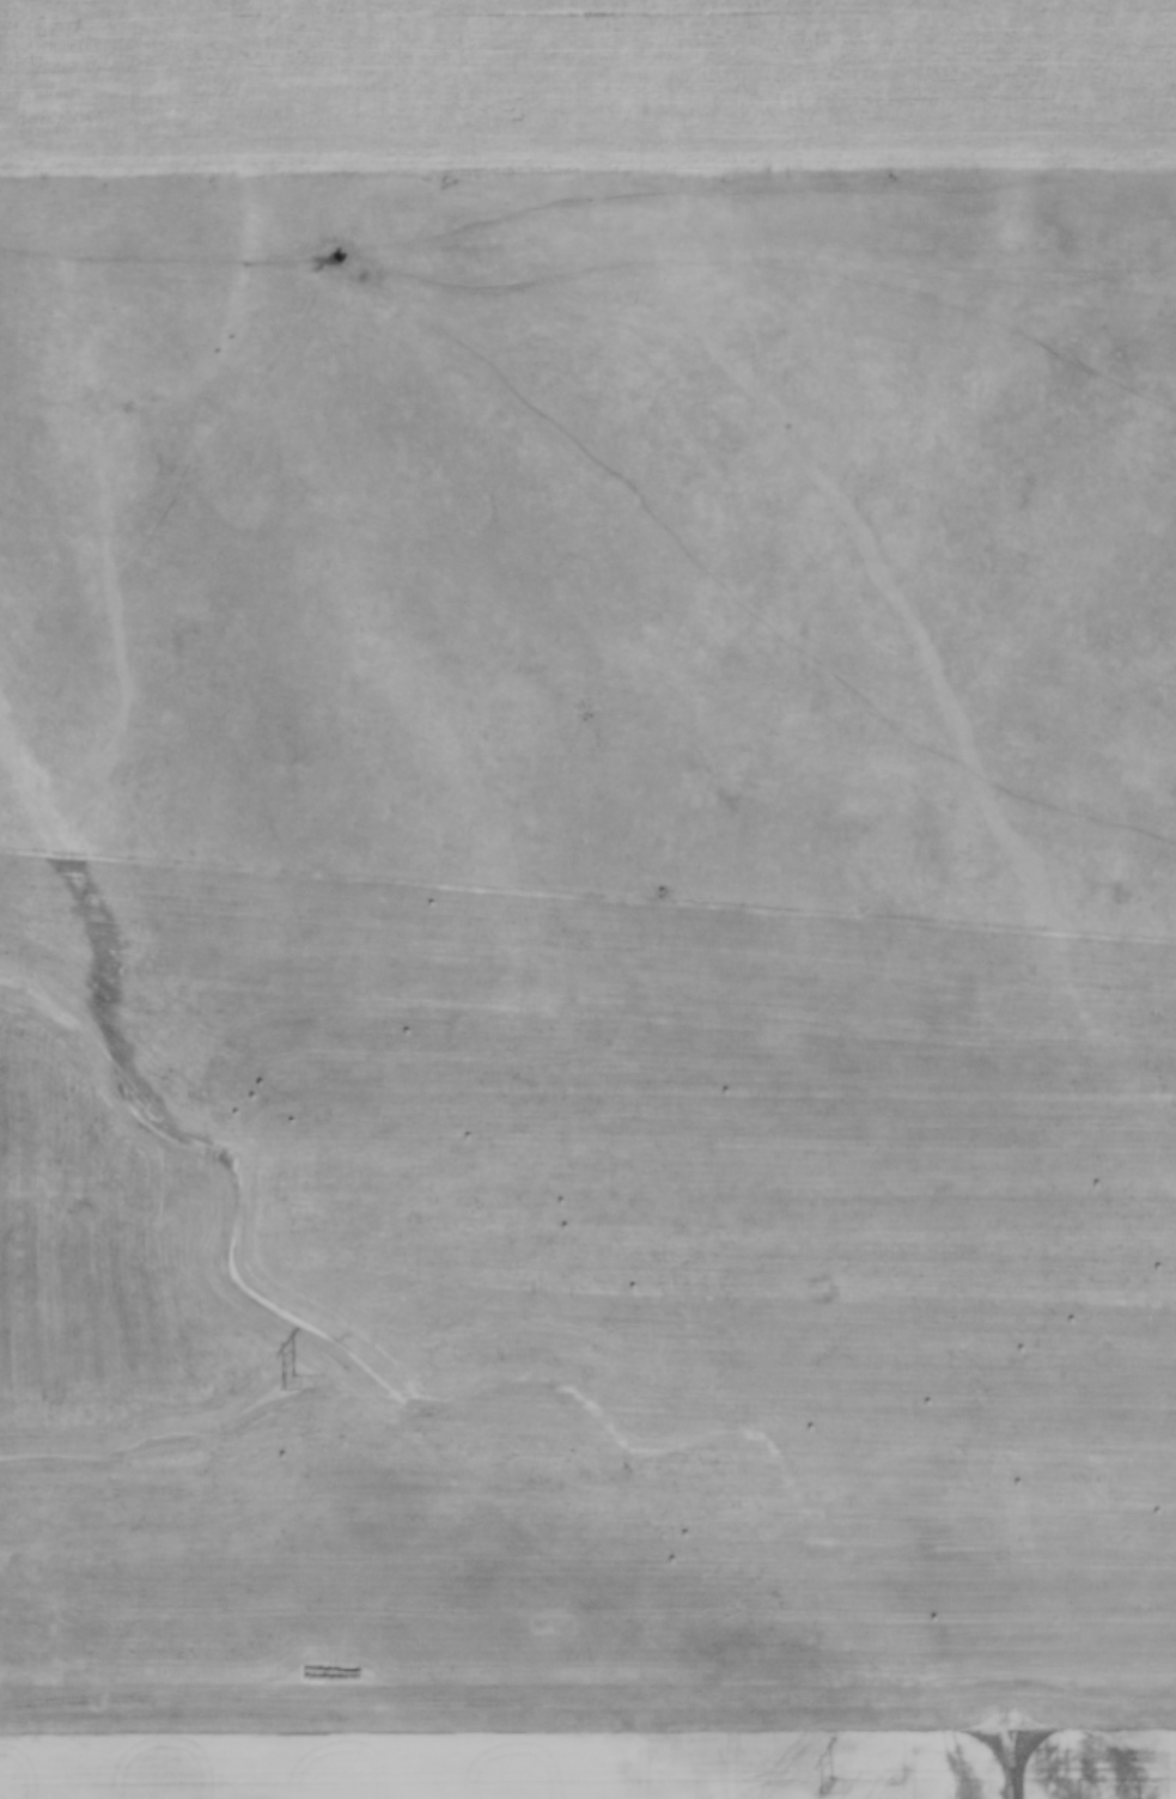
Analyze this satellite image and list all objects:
power tower: (286, 1382)
road: (318, 1706)
power tower: (824, 1786)

